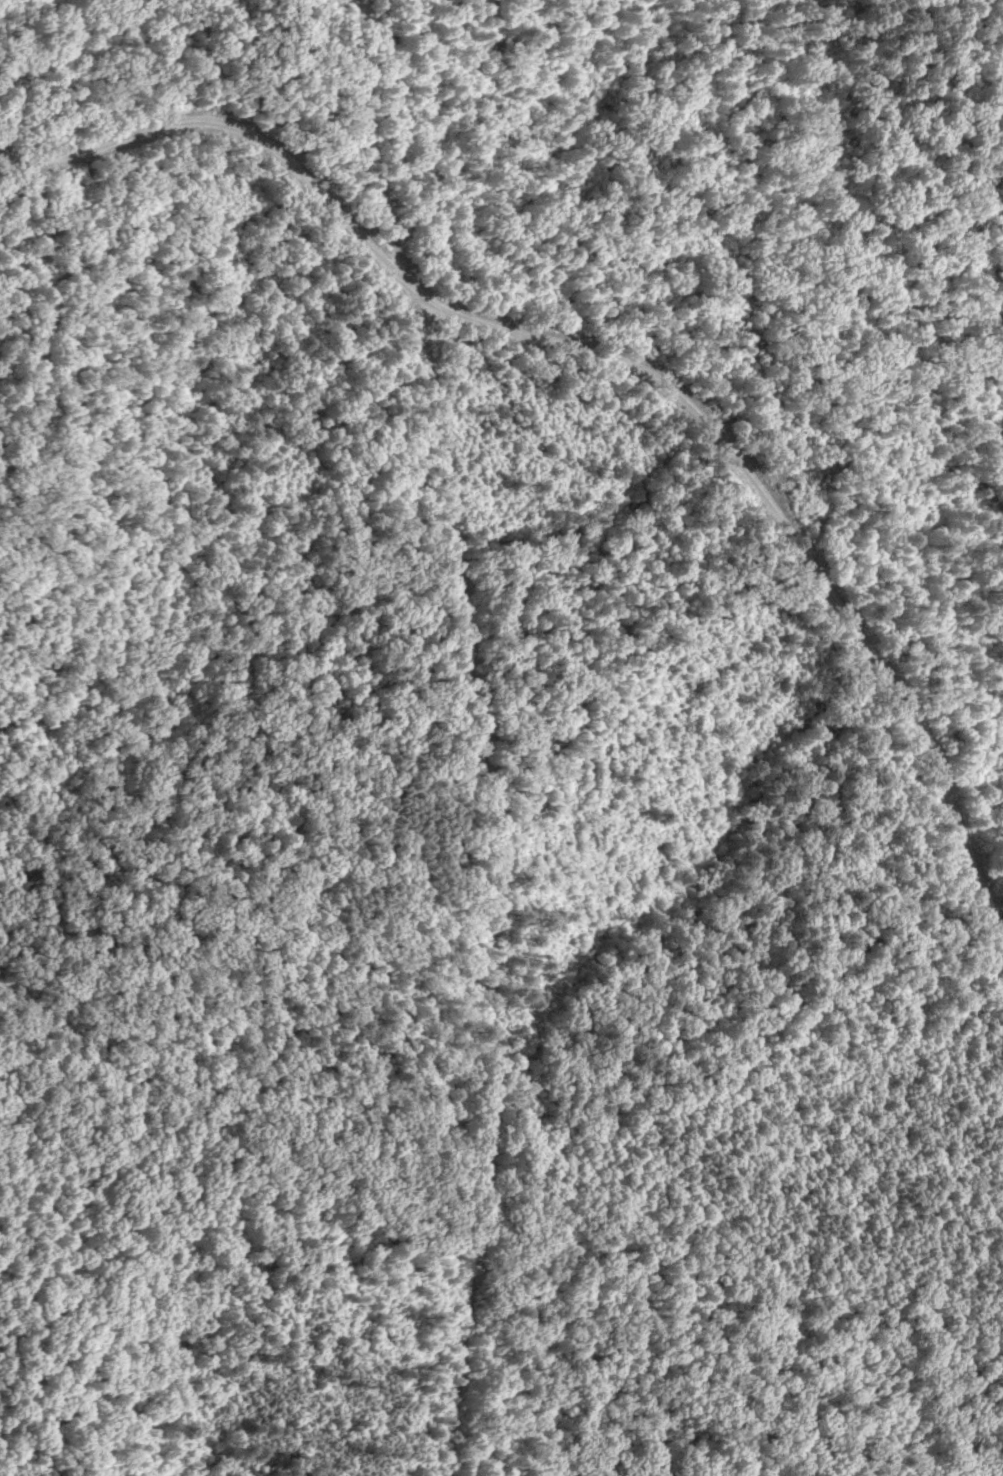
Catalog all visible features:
road: (618, 360)

